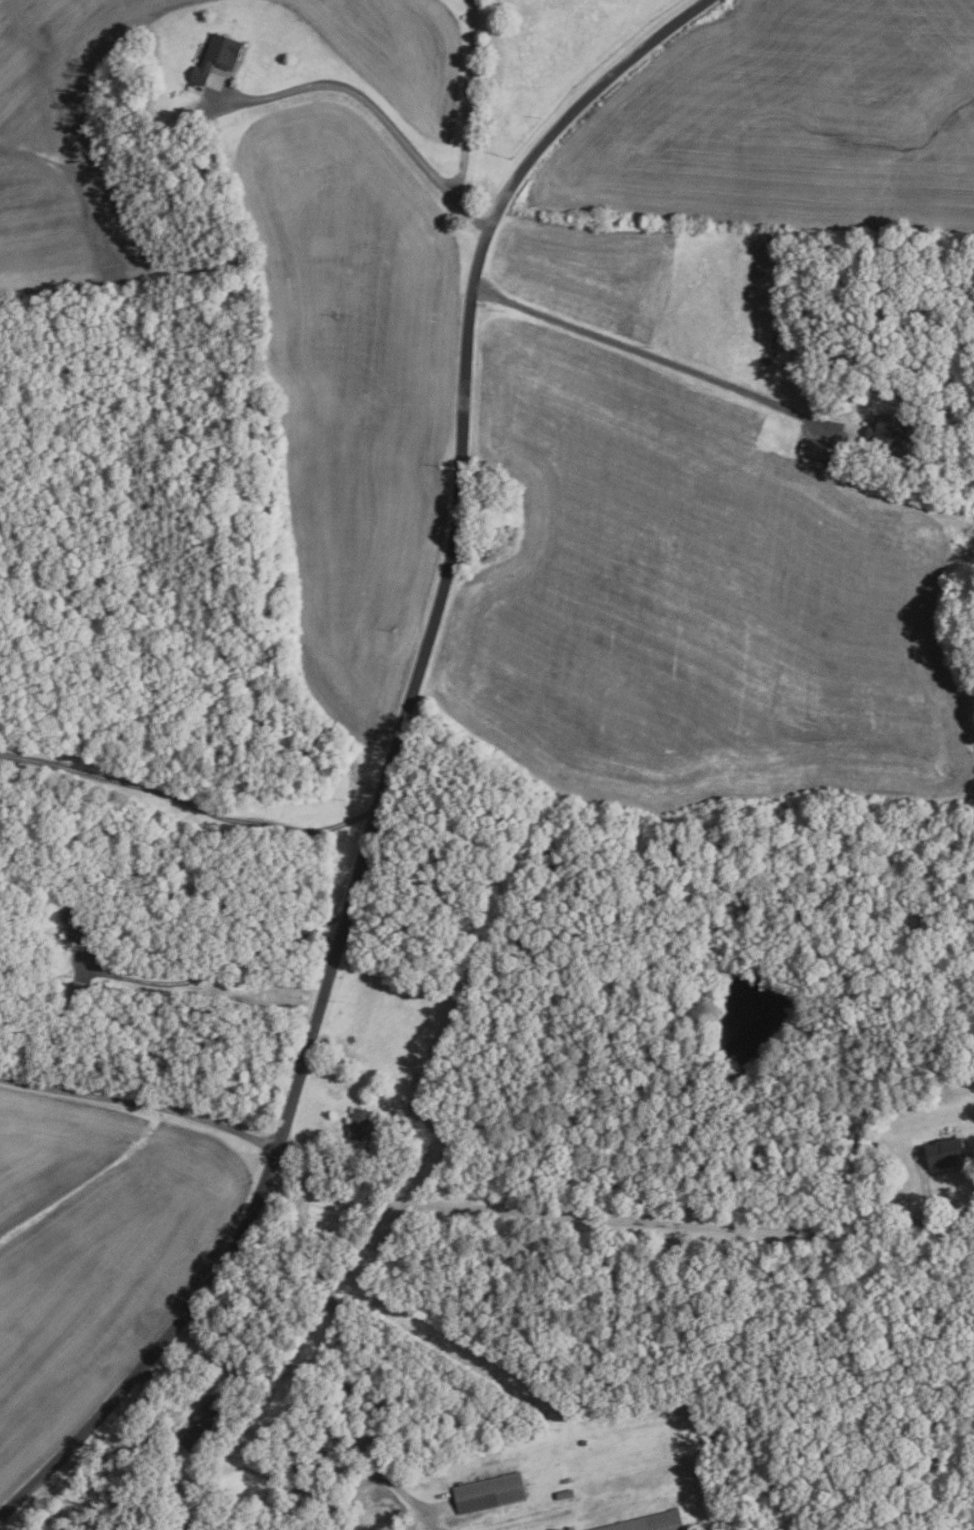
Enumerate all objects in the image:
building: (216, 57)
road: (359, 92)
road: (483, 98)
building: (174, 127)
road: (469, 211)
road: (660, 350)
building: (915, 371)
building: (887, 431)
building: (813, 450)
road: (391, 763)
road: (189, 803)
building: (77, 923)
road: (318, 926)
building: (29, 932)
road: (205, 975)
building: (78, 992)
road: (141, 1102)
building: (413, 1108)
building: (357, 1124)
building: (943, 1152)
road: (318, 1170)
road: (925, 1189)
road: (617, 1216)
crop: (91, 1254)
road: (344, 1361)
road: (160, 1408)
building: (206, 1421)
building: (583, 1443)
building: (317, 1460)
building: (488, 1493)
building: (563, 1494)
building: (318, 1499)
building: (298, 1502)
building: (648, 1522)
road: (1, 1528)

